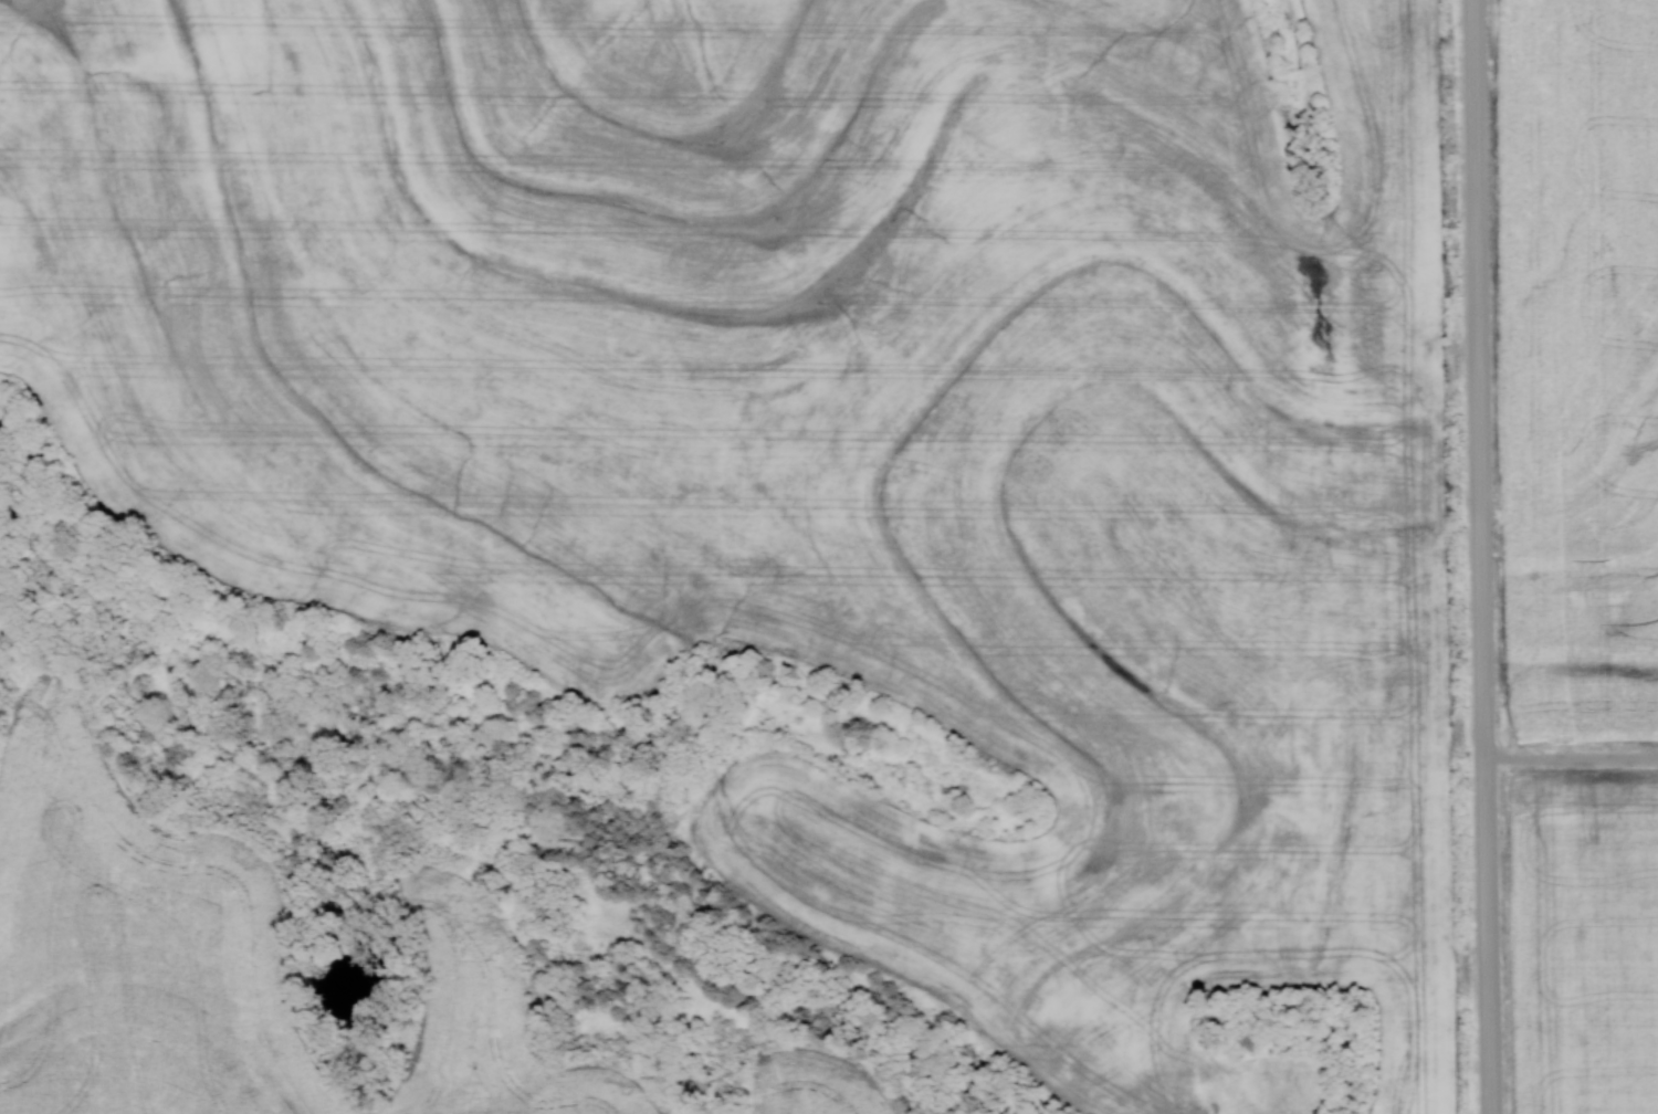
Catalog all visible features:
road: (1479, 557)
road: (1570, 757)

